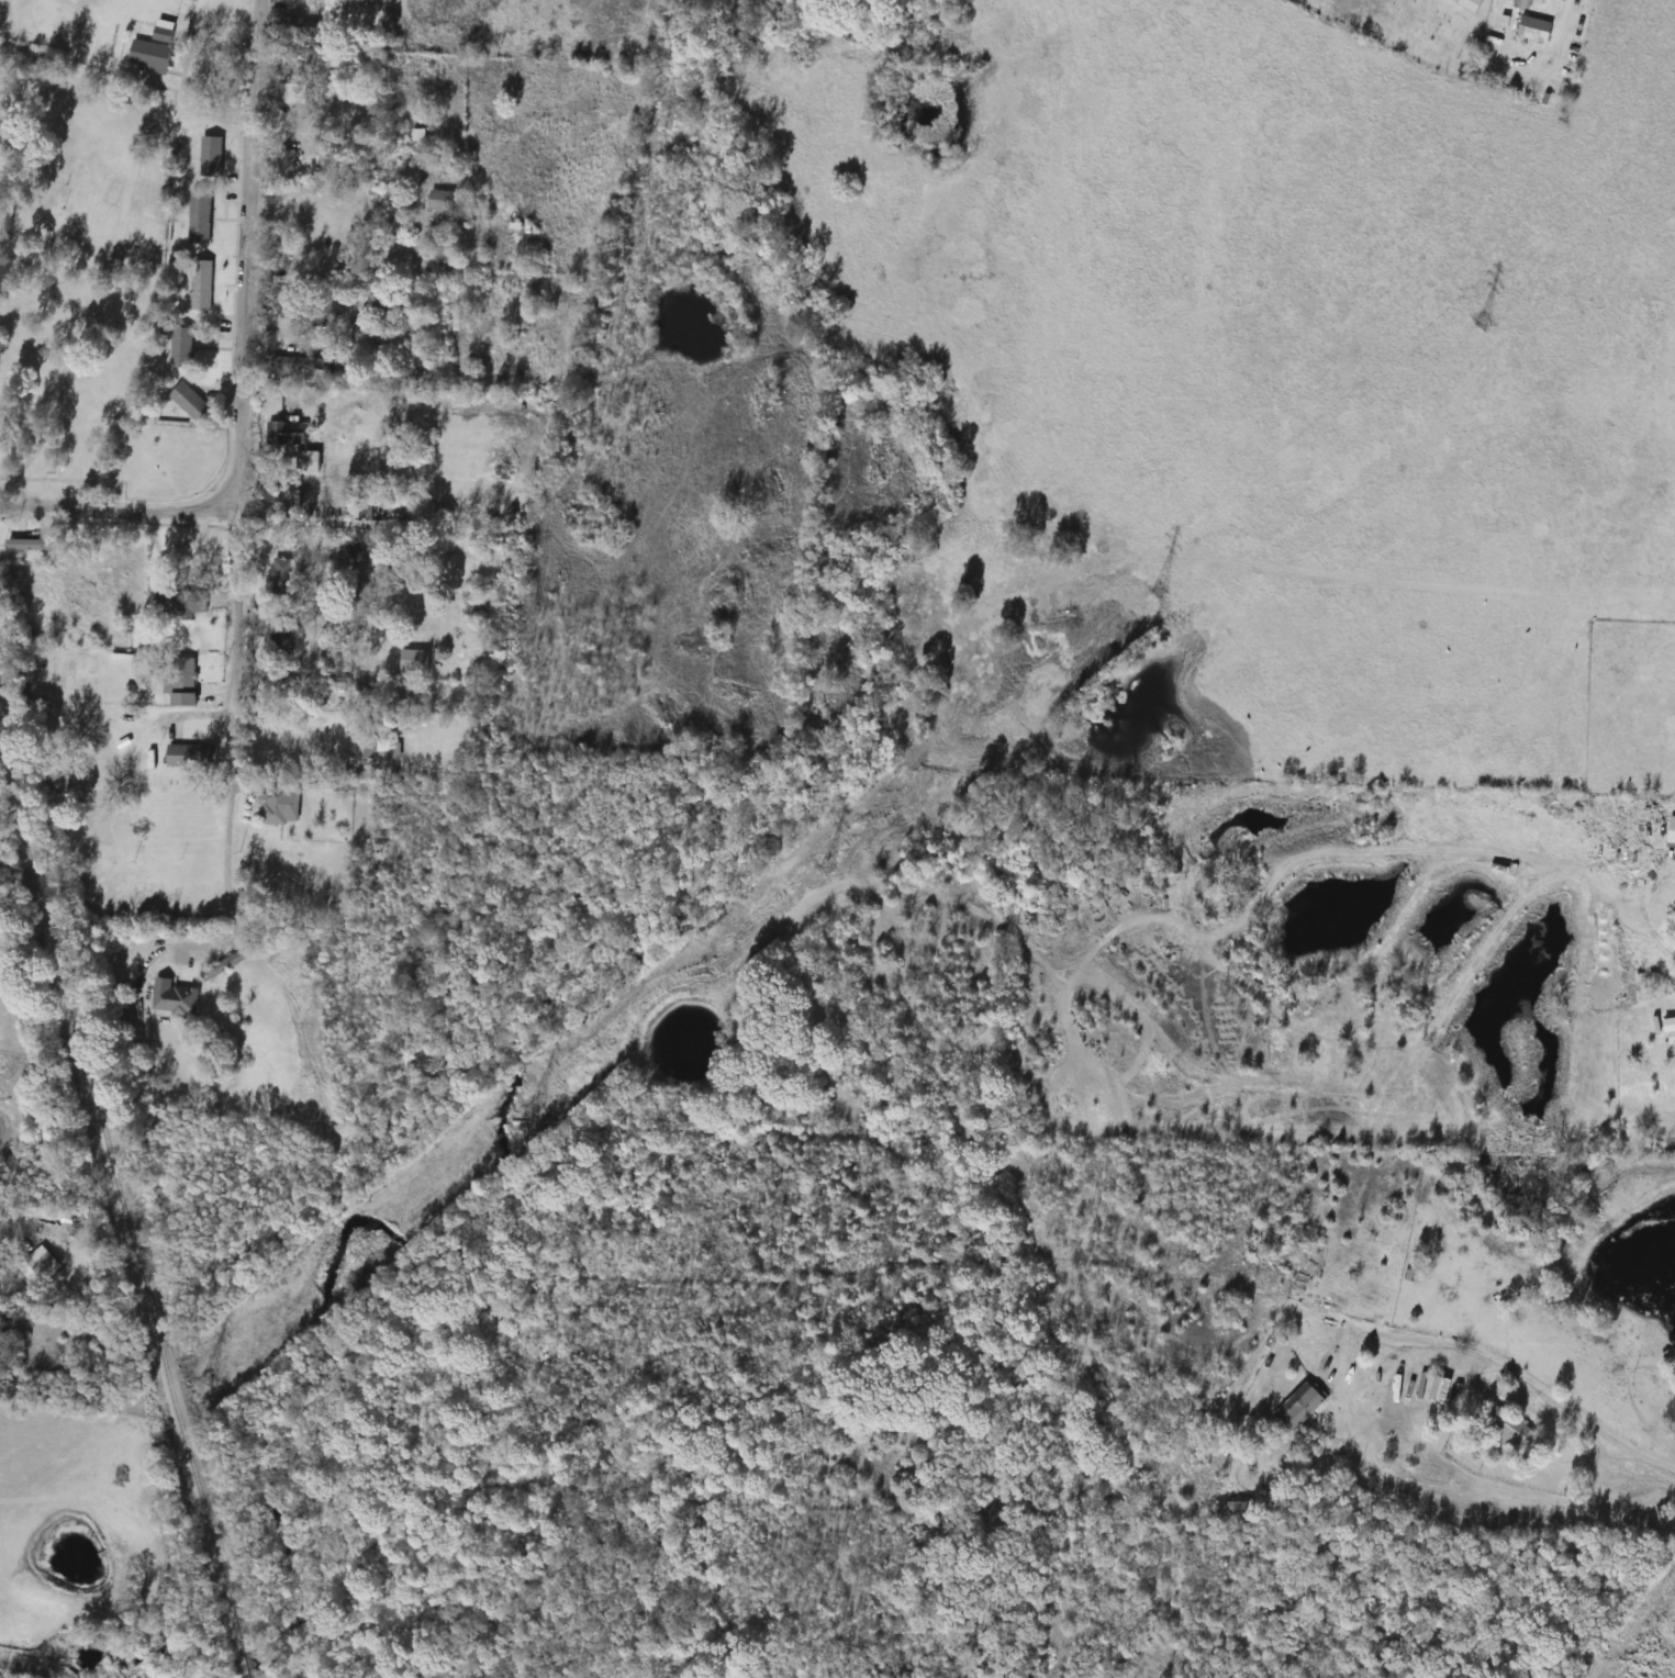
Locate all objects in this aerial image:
building: (1470, 3)
building: (1522, 4)
building: (287, 9)
road: (1571, 15)
building: (289, 25)
park: (1411, 29)
building: (1536, 30)
building: (154, 52)
building: (295, 97)
building: (418, 134)
building: (212, 155)
building: (290, 160)
building: (442, 200)
building: (200, 228)
road: (424, 267)
building: (202, 284)
building: (284, 298)
building: (392, 303)
power tower: (1486, 321)
road: (81, 346)
building: (182, 347)
building: (299, 362)
building: (191, 402)
building: (290, 434)
road: (241, 443)
road: (121, 512)
building: (32, 545)
building: (278, 571)
power tower: (1161, 589)
building: (180, 602)
building: (278, 636)
building: (415, 660)
building: (181, 682)
building: (382, 748)
building: (189, 754)
building: (282, 805)
building: (1672, 824)
power tower: (833, 862)
road: (226, 936)
building: (226, 965)
building: (175, 998)
building: (1672, 1036)
power tower: (543, 1100)
railway: (110, 1184)
road: (7, 1206)
building: (40, 1266)
power tower: (210, 1376)
building: (1439, 1389)
building: (1303, 1409)
road: (1570, 1409)
building: (1505, 1429)
building: (1238, 1508)
road: (23, 1669)

